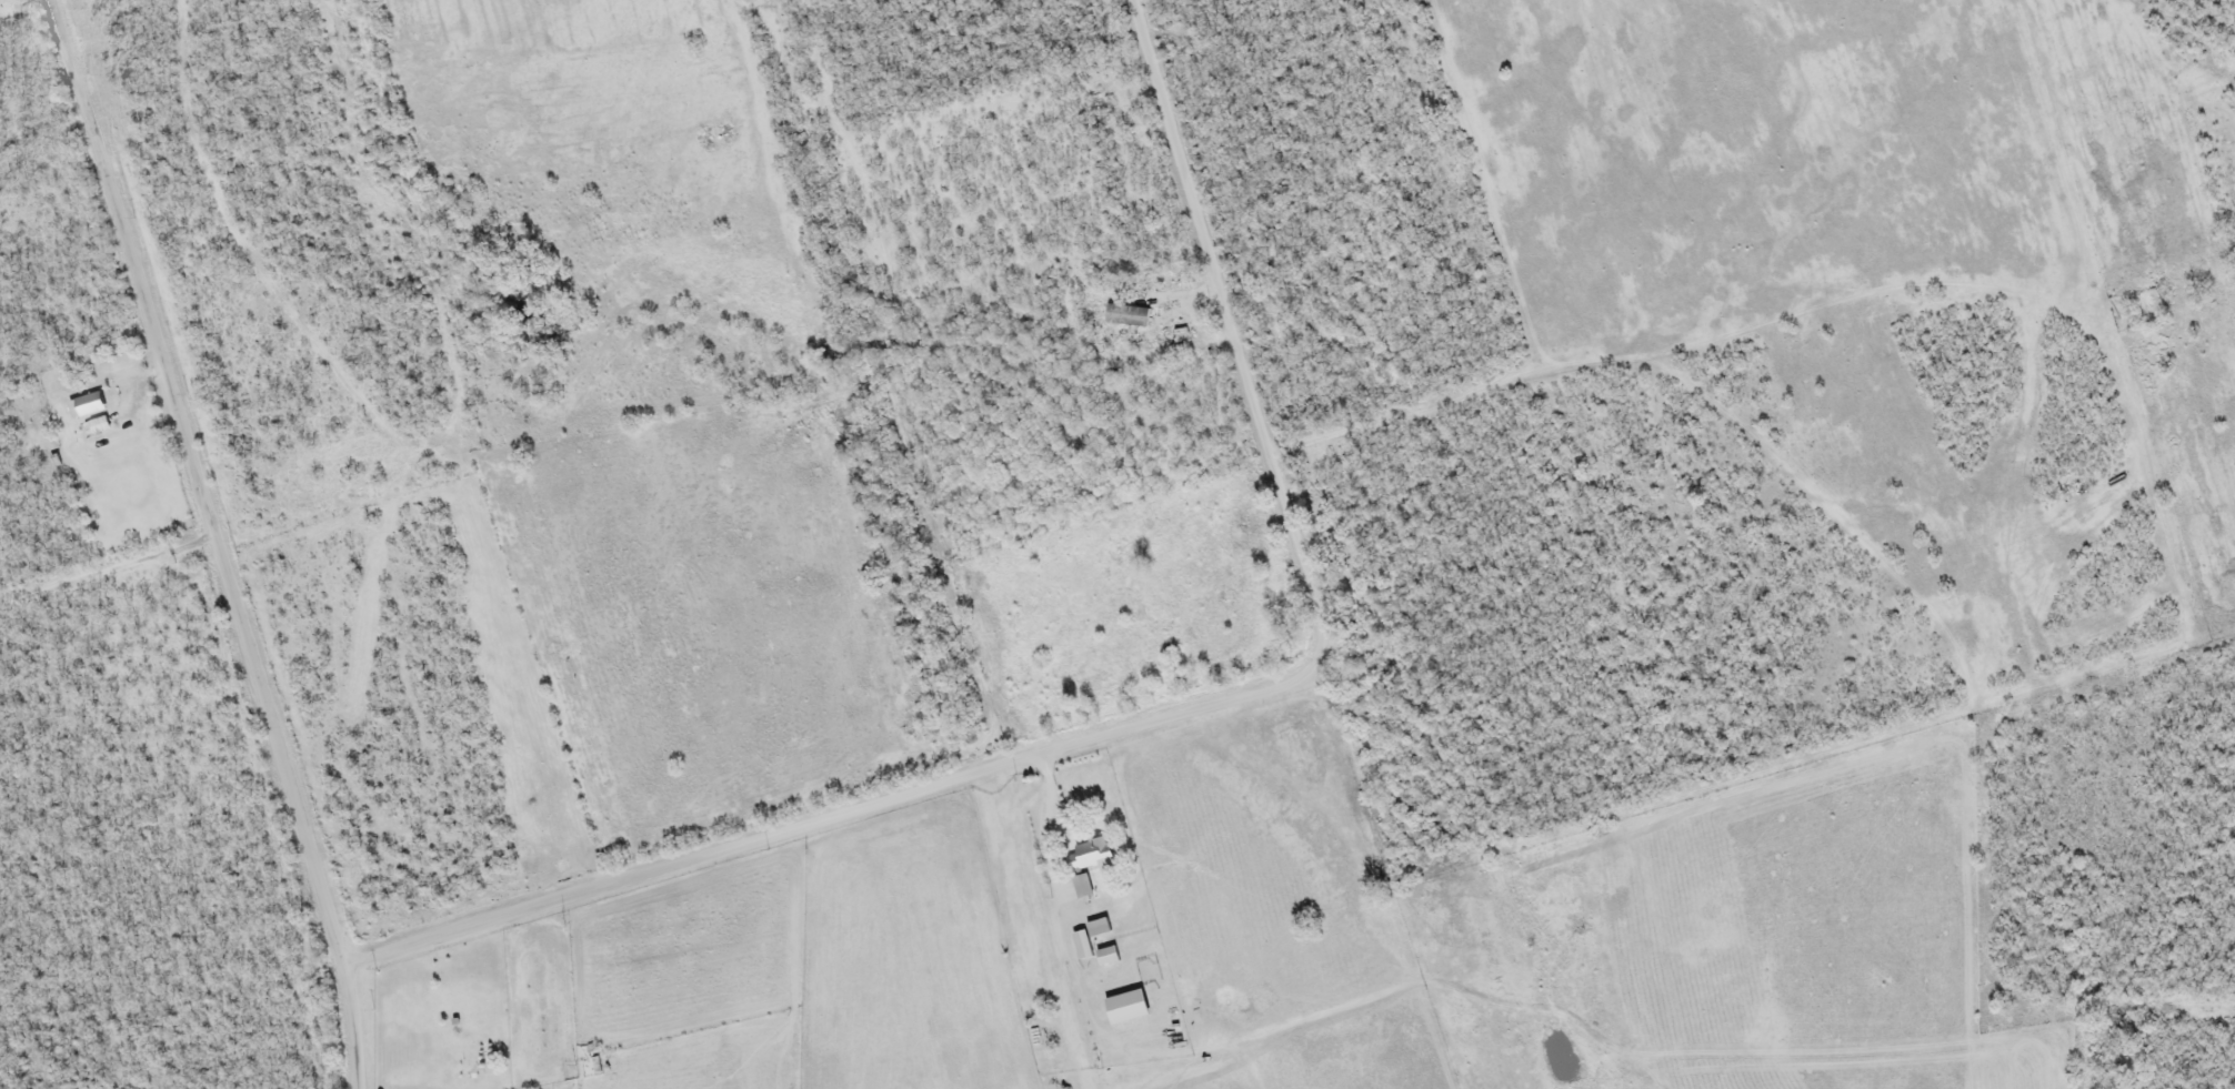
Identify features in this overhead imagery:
road: (1211, 332)
building: (87, 407)
building: (97, 428)
road: (188, 484)
road: (106, 591)
road: (820, 819)
building: (1085, 865)
road: (1041, 928)
building: (1095, 929)
building: (1104, 958)
road: (345, 968)
road: (353, 1030)

